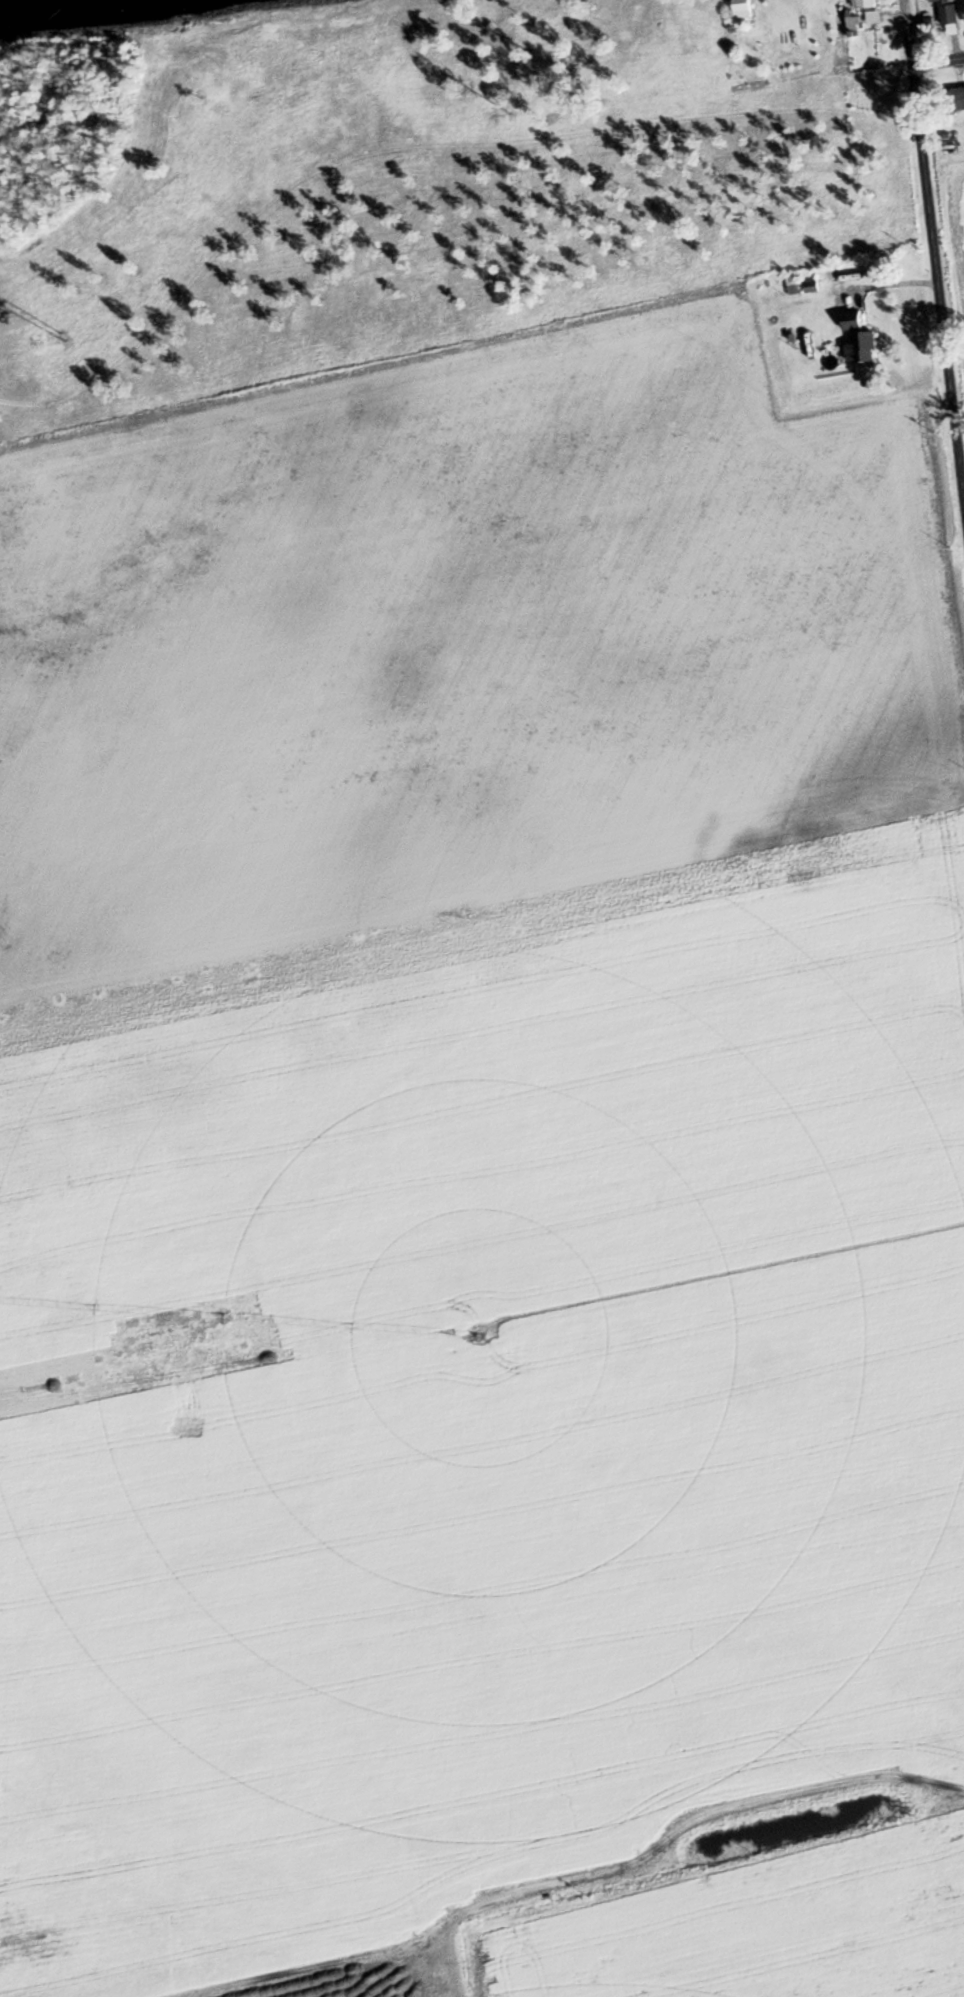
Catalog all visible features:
building: (963, 1)
building: (863, 3)
building: (741, 9)
building: (691, 11)
building: (947, 11)
building: (465, 55)
road: (938, 61)
building: (418, 88)
building: (533, 99)
building: (958, 100)
road: (413, 146)
crop: (954, 225)
road: (933, 249)
building: (858, 342)
crop: (483, 1186)

